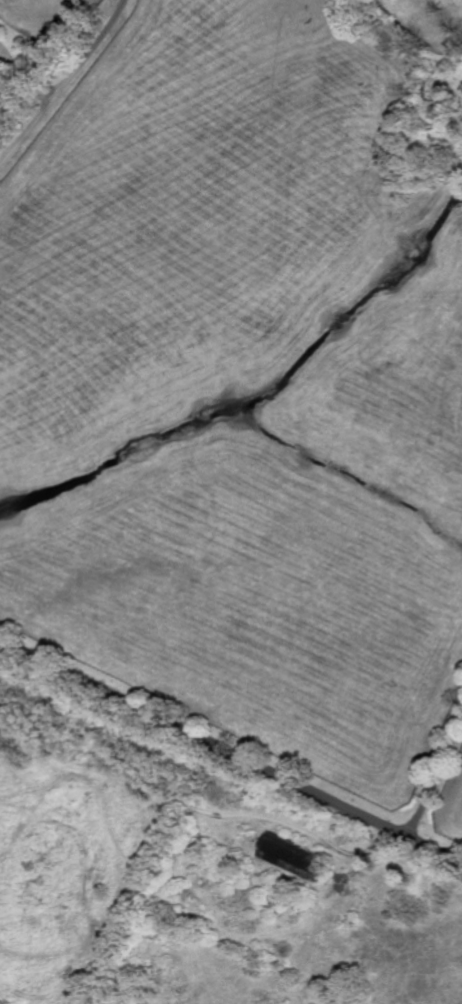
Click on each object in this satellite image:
road: (30, 68)
road: (64, 82)
road: (230, 746)
road: (437, 773)
building: (296, 856)

